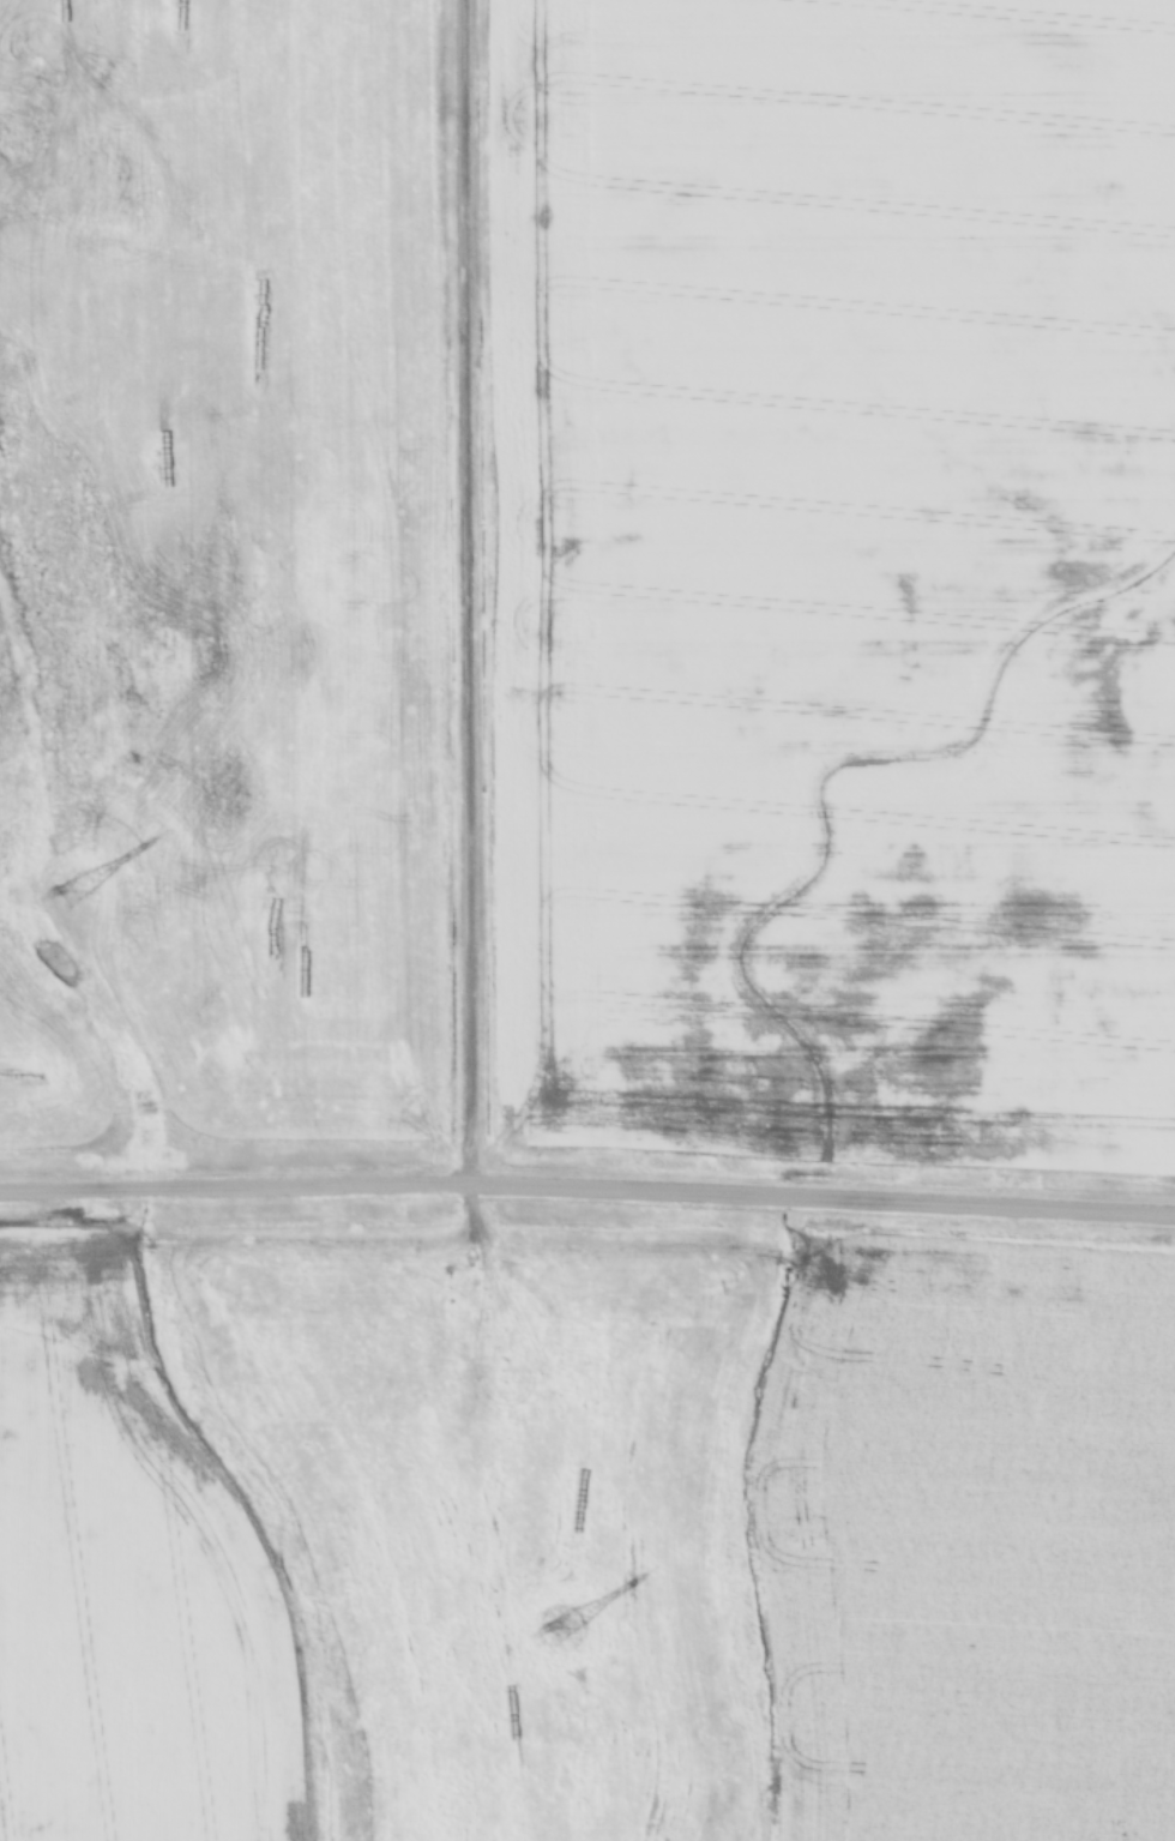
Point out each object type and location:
power tower: (71, 891)
road: (469, 920)
road: (587, 1186)
power tower: (560, 1626)

